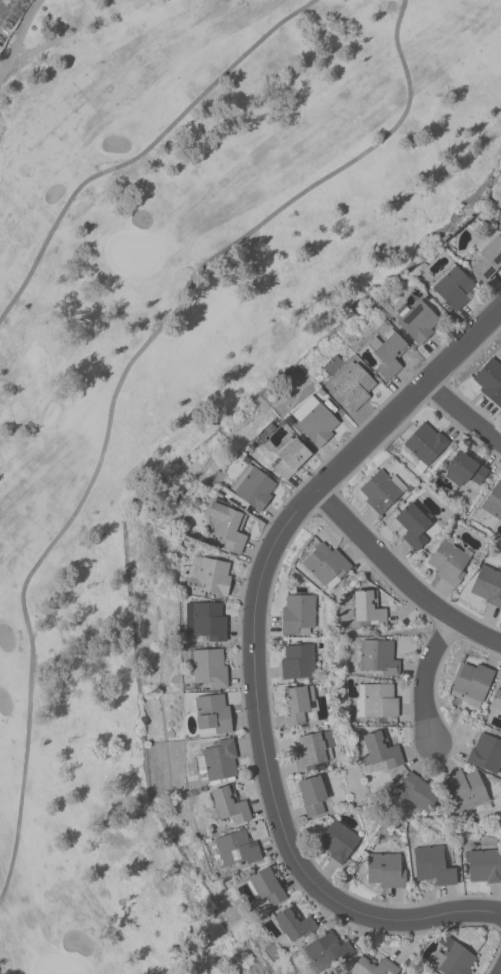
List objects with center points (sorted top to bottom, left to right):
road: (18, 33)
road: (145, 151)
building: (498, 214)
building: (487, 254)
building: (452, 286)
building: (416, 320)
building: (387, 352)
building: (490, 381)
building: (351, 386)
road: (115, 396)
road: (463, 414)
building: (317, 424)
building: (422, 443)
building: (290, 458)
building: (464, 469)
building: (249, 489)
building: (381, 491)
building: (493, 501)
building: (225, 524)
building: (412, 525)
building: (449, 561)
building: (326, 565)
building: (207, 576)
road: (401, 576)
building: (488, 585)
building: (368, 607)
building: (298, 614)
building: (208, 621)
road: (254, 655)
building: (378, 657)
building: (298, 662)
building: (207, 668)
road: (423, 677)
building: (472, 683)
building: (496, 699)
building: (375, 701)
building: (297, 703)
building: (211, 714)
building: (380, 750)
building: (314, 751)
building: (486, 753)
building: (217, 761)
building: (465, 790)
building: (414, 794)
building: (313, 795)
building: (229, 804)
building: (337, 841)
building: (233, 849)
building: (434, 864)
building: (484, 865)
building: (385, 870)
building: (264, 886)
building: (293, 923)
building: (324, 952)
building: (453, 958)
building: (372, 966)
road: (0, 972)
road: (500, 973)

